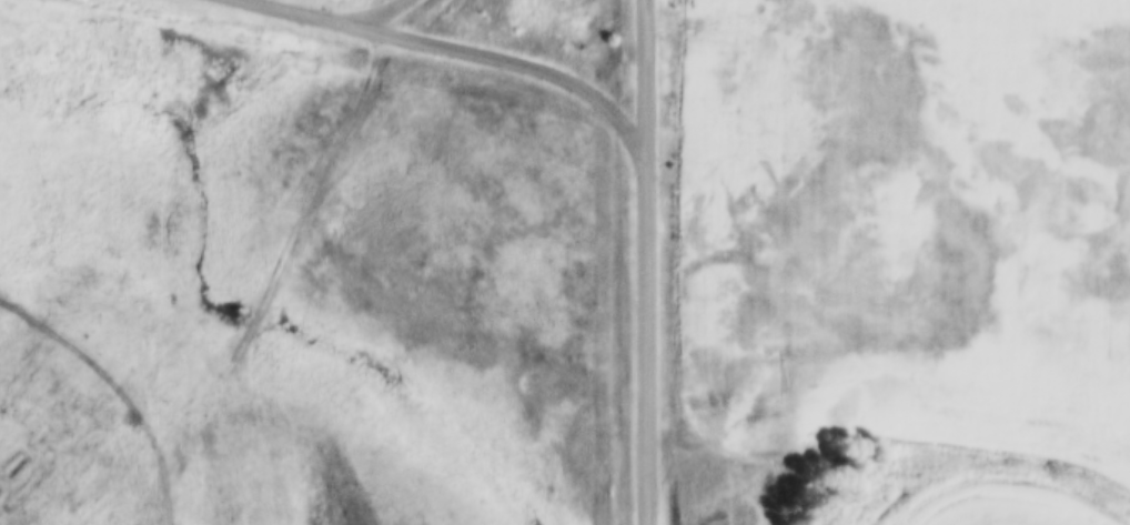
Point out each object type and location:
road: (372, 10)
road: (844, 21)
road: (463, 47)
road: (643, 262)

